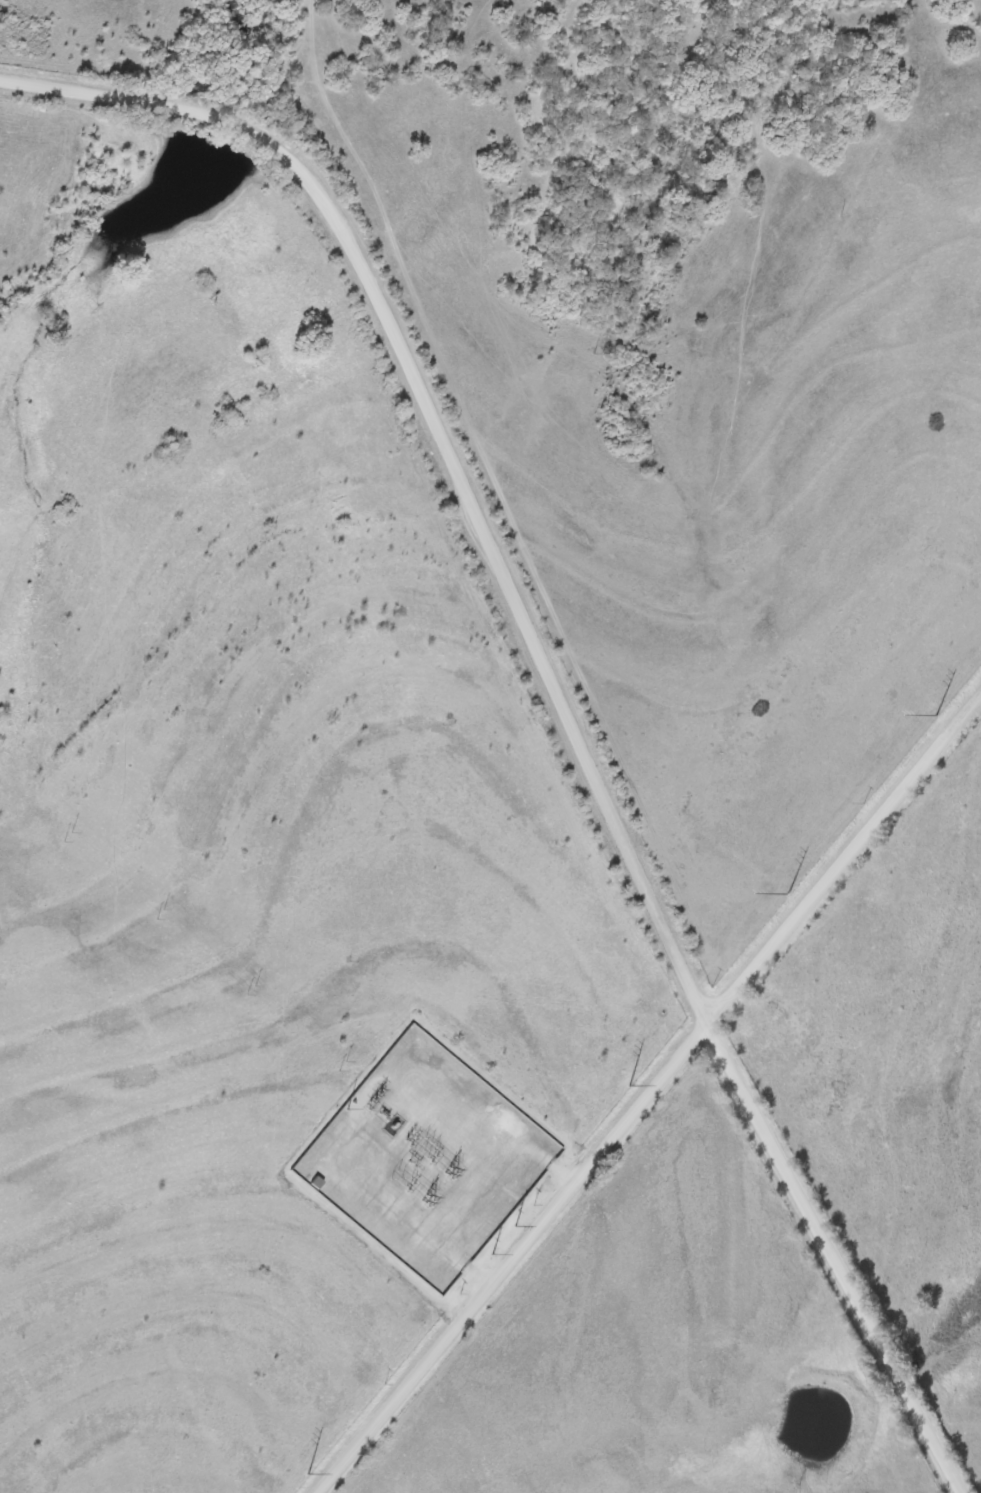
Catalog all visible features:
road: (974, 27)
road: (557, 685)
road: (650, 1101)
power substation: (426, 1155)

